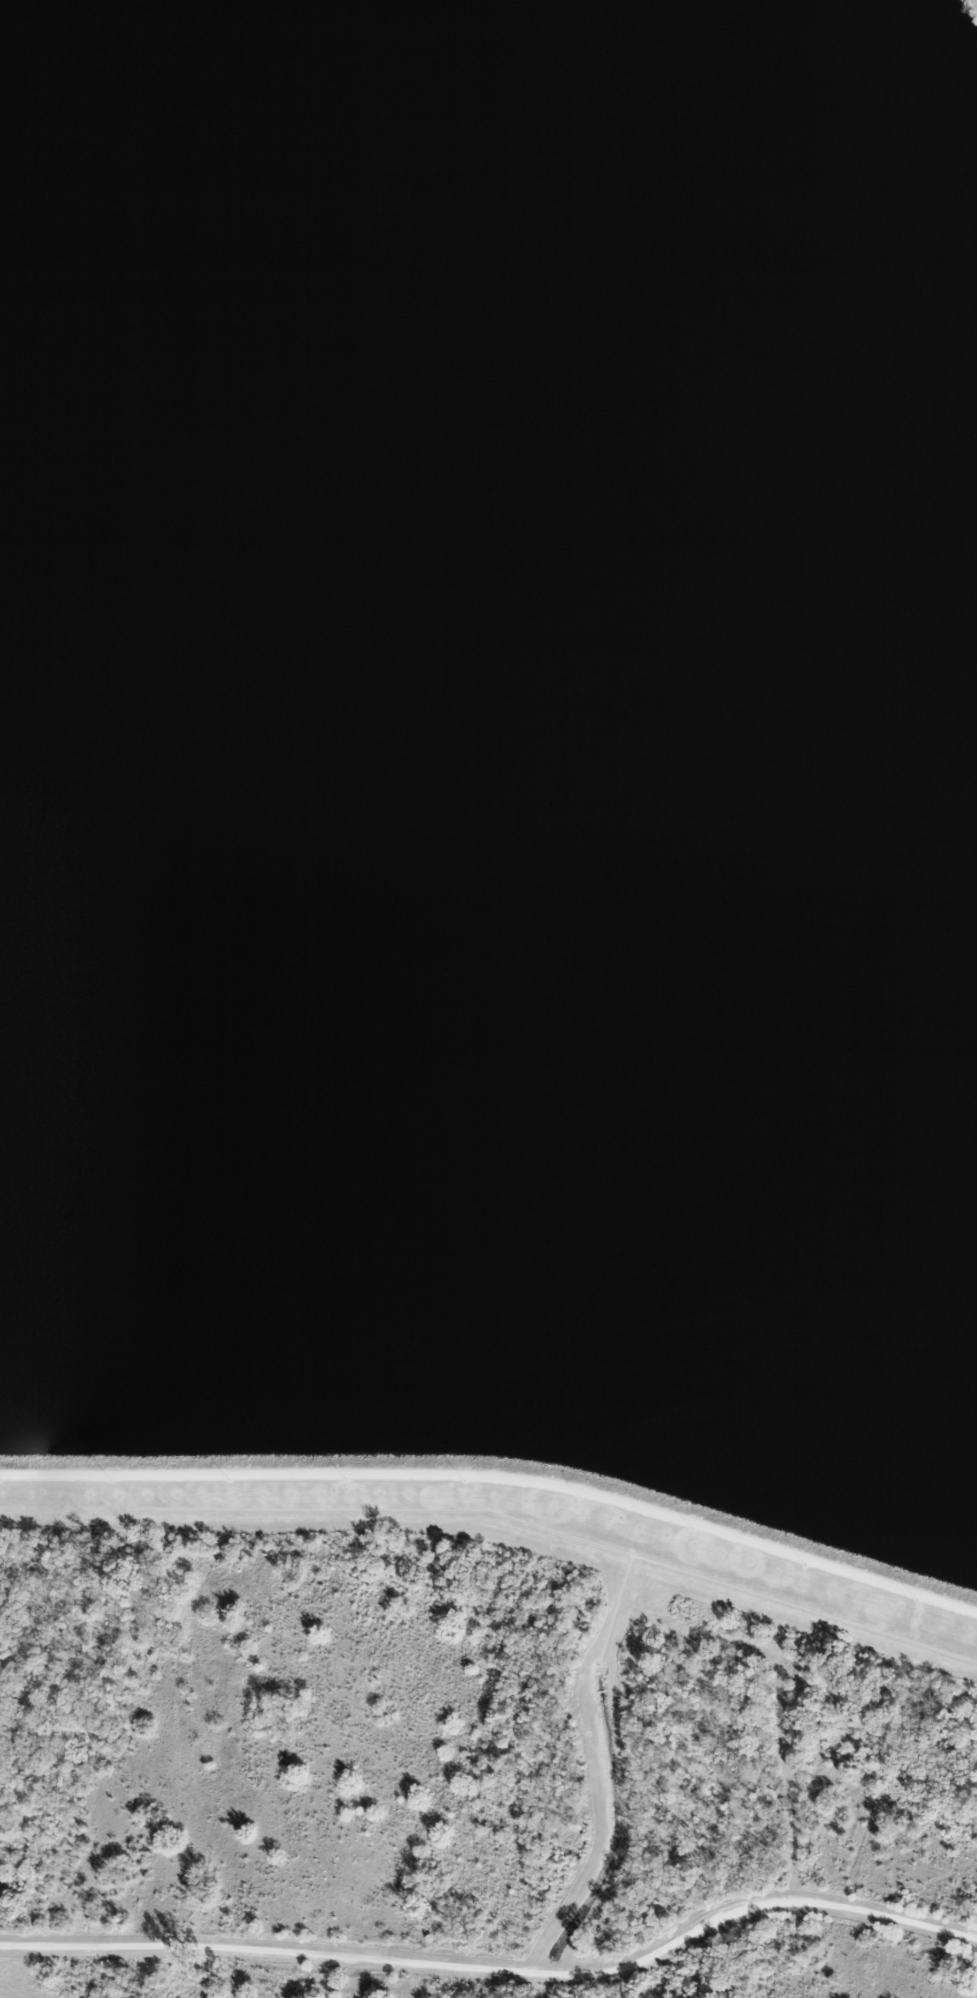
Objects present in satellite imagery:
road: (973, 4)
dam: (498, 1478)
road: (498, 1478)
road: (804, 1932)
road: (224, 1970)

